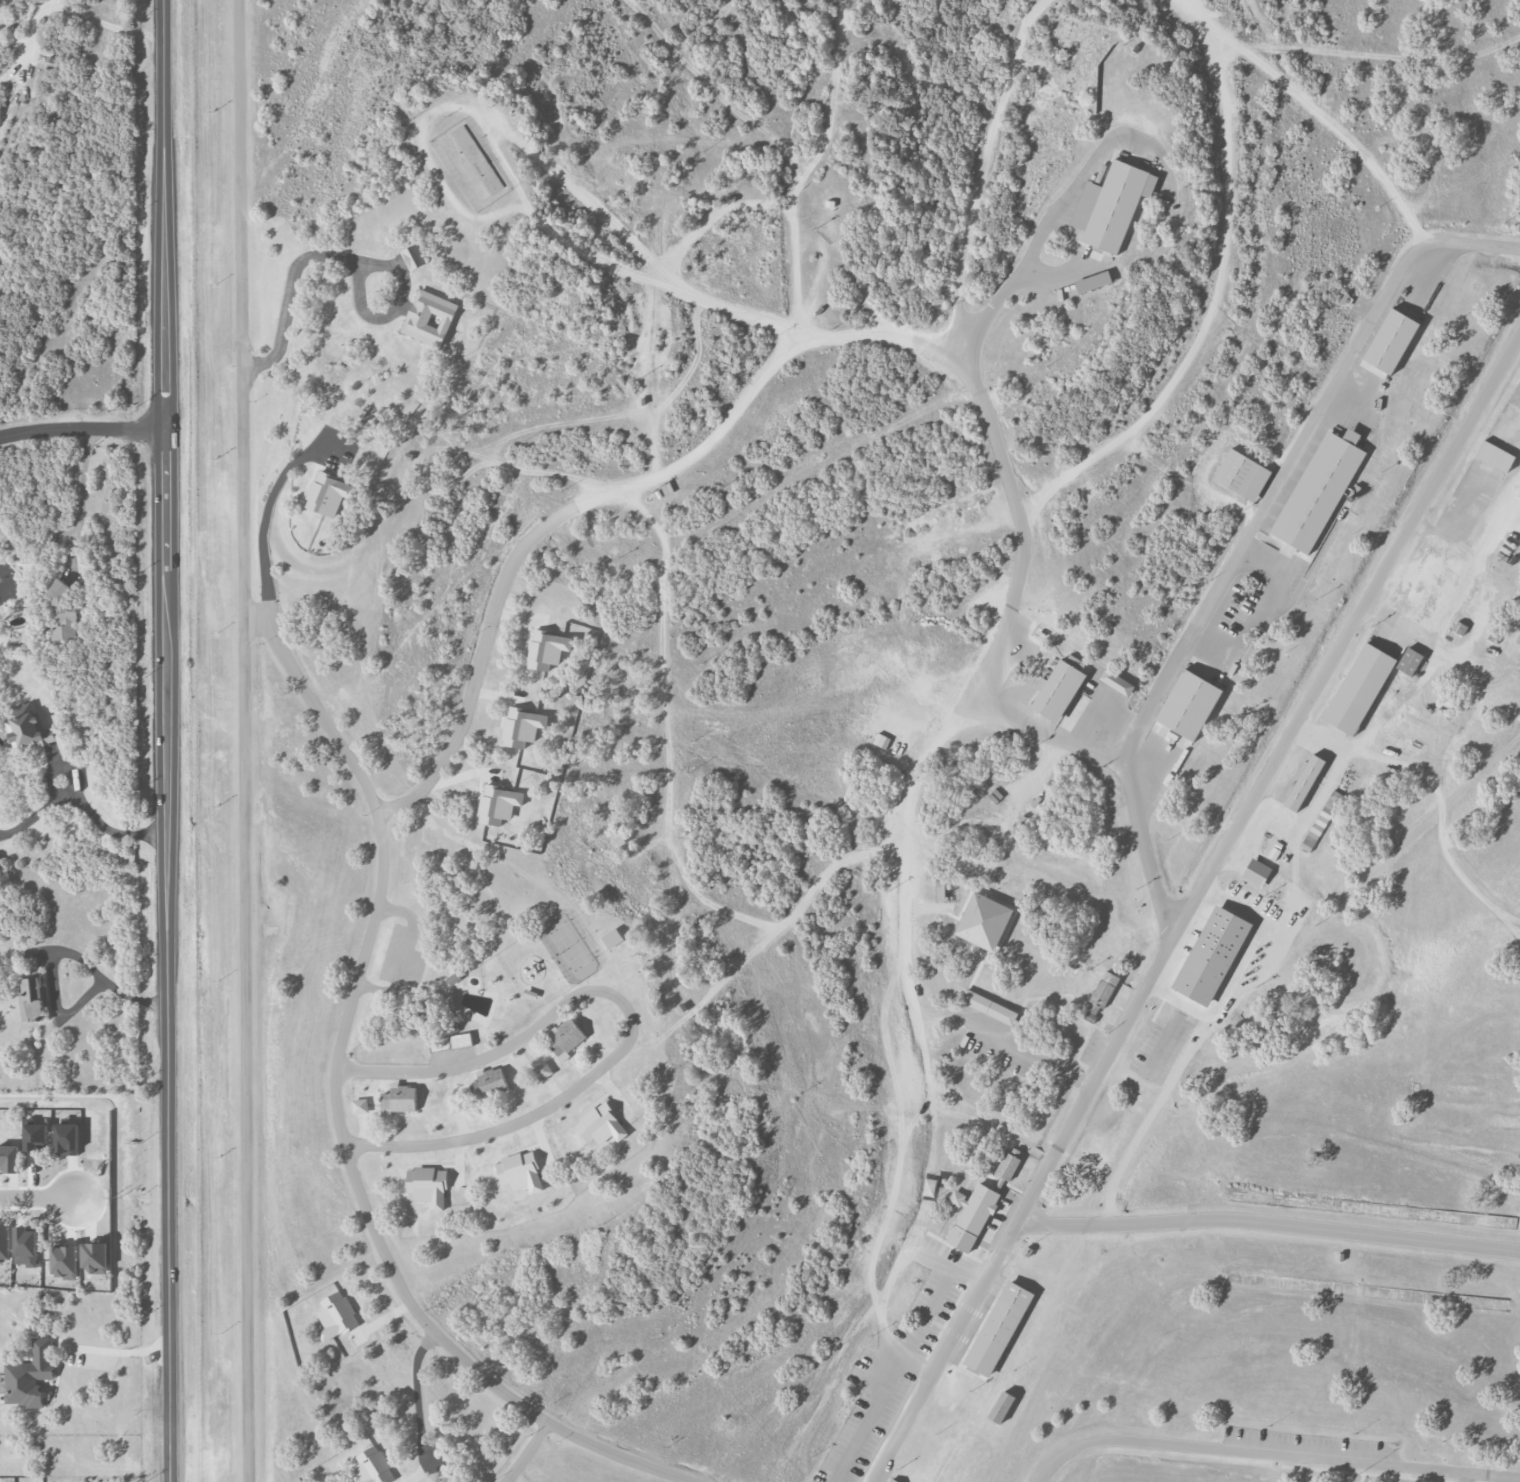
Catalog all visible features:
road: (71, 10)
road: (1373, 58)
road: (724, 99)
road: (1336, 124)
road: (408, 136)
road: (1101, 147)
road: (983, 174)
building: (1111, 206)
building: (414, 256)
road: (352, 258)
road: (822, 263)
road: (1071, 269)
building: (1093, 281)
road: (1006, 289)
road: (1218, 290)
road: (864, 295)
building: (429, 318)
building: (352, 337)
building: (1391, 341)
road: (784, 346)
road: (165, 415)
road: (82, 427)
building: (1495, 456)
building: (1242, 475)
building: (1319, 490)
building: (328, 494)
road: (82, 496)
road: (1462, 507)
road: (1019, 508)
road: (1249, 539)
road: (1449, 541)
road: (516, 555)
road: (1466, 600)
building: (63, 611)
building: (1459, 627)
building: (547, 649)
road: (268, 660)
building: (1409, 661)
building: (1116, 682)
building: (1059, 688)
building: (1359, 689)
building: (1189, 704)
building: (522, 726)
building: (27, 728)
road: (250, 740)
building: (1304, 782)
road: (81, 803)
building: (498, 804)
building: (1321, 820)
building: (1256, 872)
road: (1191, 909)
building: (984, 921)
road: (765, 934)
building: (612, 938)
road: (60, 950)
building: (1212, 955)
road: (276, 974)
building: (454, 978)
building: (1101, 995)
building: (31, 998)
building: (447, 1003)
building: (988, 1006)
road: (916, 1015)
road: (347, 1021)
road: (630, 1022)
building: (566, 1038)
building: (450, 1042)
building: (543, 1070)
building: (489, 1084)
building: (399, 1099)
building: (455, 1105)
building: (360, 1106)
building: (600, 1124)
building: (36, 1137)
building: (66, 1139)
road: (168, 1156)
building: (9, 1158)
building: (1009, 1163)
building: (520, 1171)
building: (428, 1186)
road: (39, 1198)
building: (971, 1216)
road: (1269, 1224)
building: (4, 1241)
building: (25, 1246)
building: (65, 1261)
building: (336, 1316)
building: (998, 1328)
road: (115, 1350)
building: (28, 1376)
building: (1001, 1407)
road: (525, 1452)
road: (1273, 1452)
building: (373, 1466)
road: (1302, 1468)
road: (1412, 1475)
road: (1469, 1478)
building: (892, 1480)

